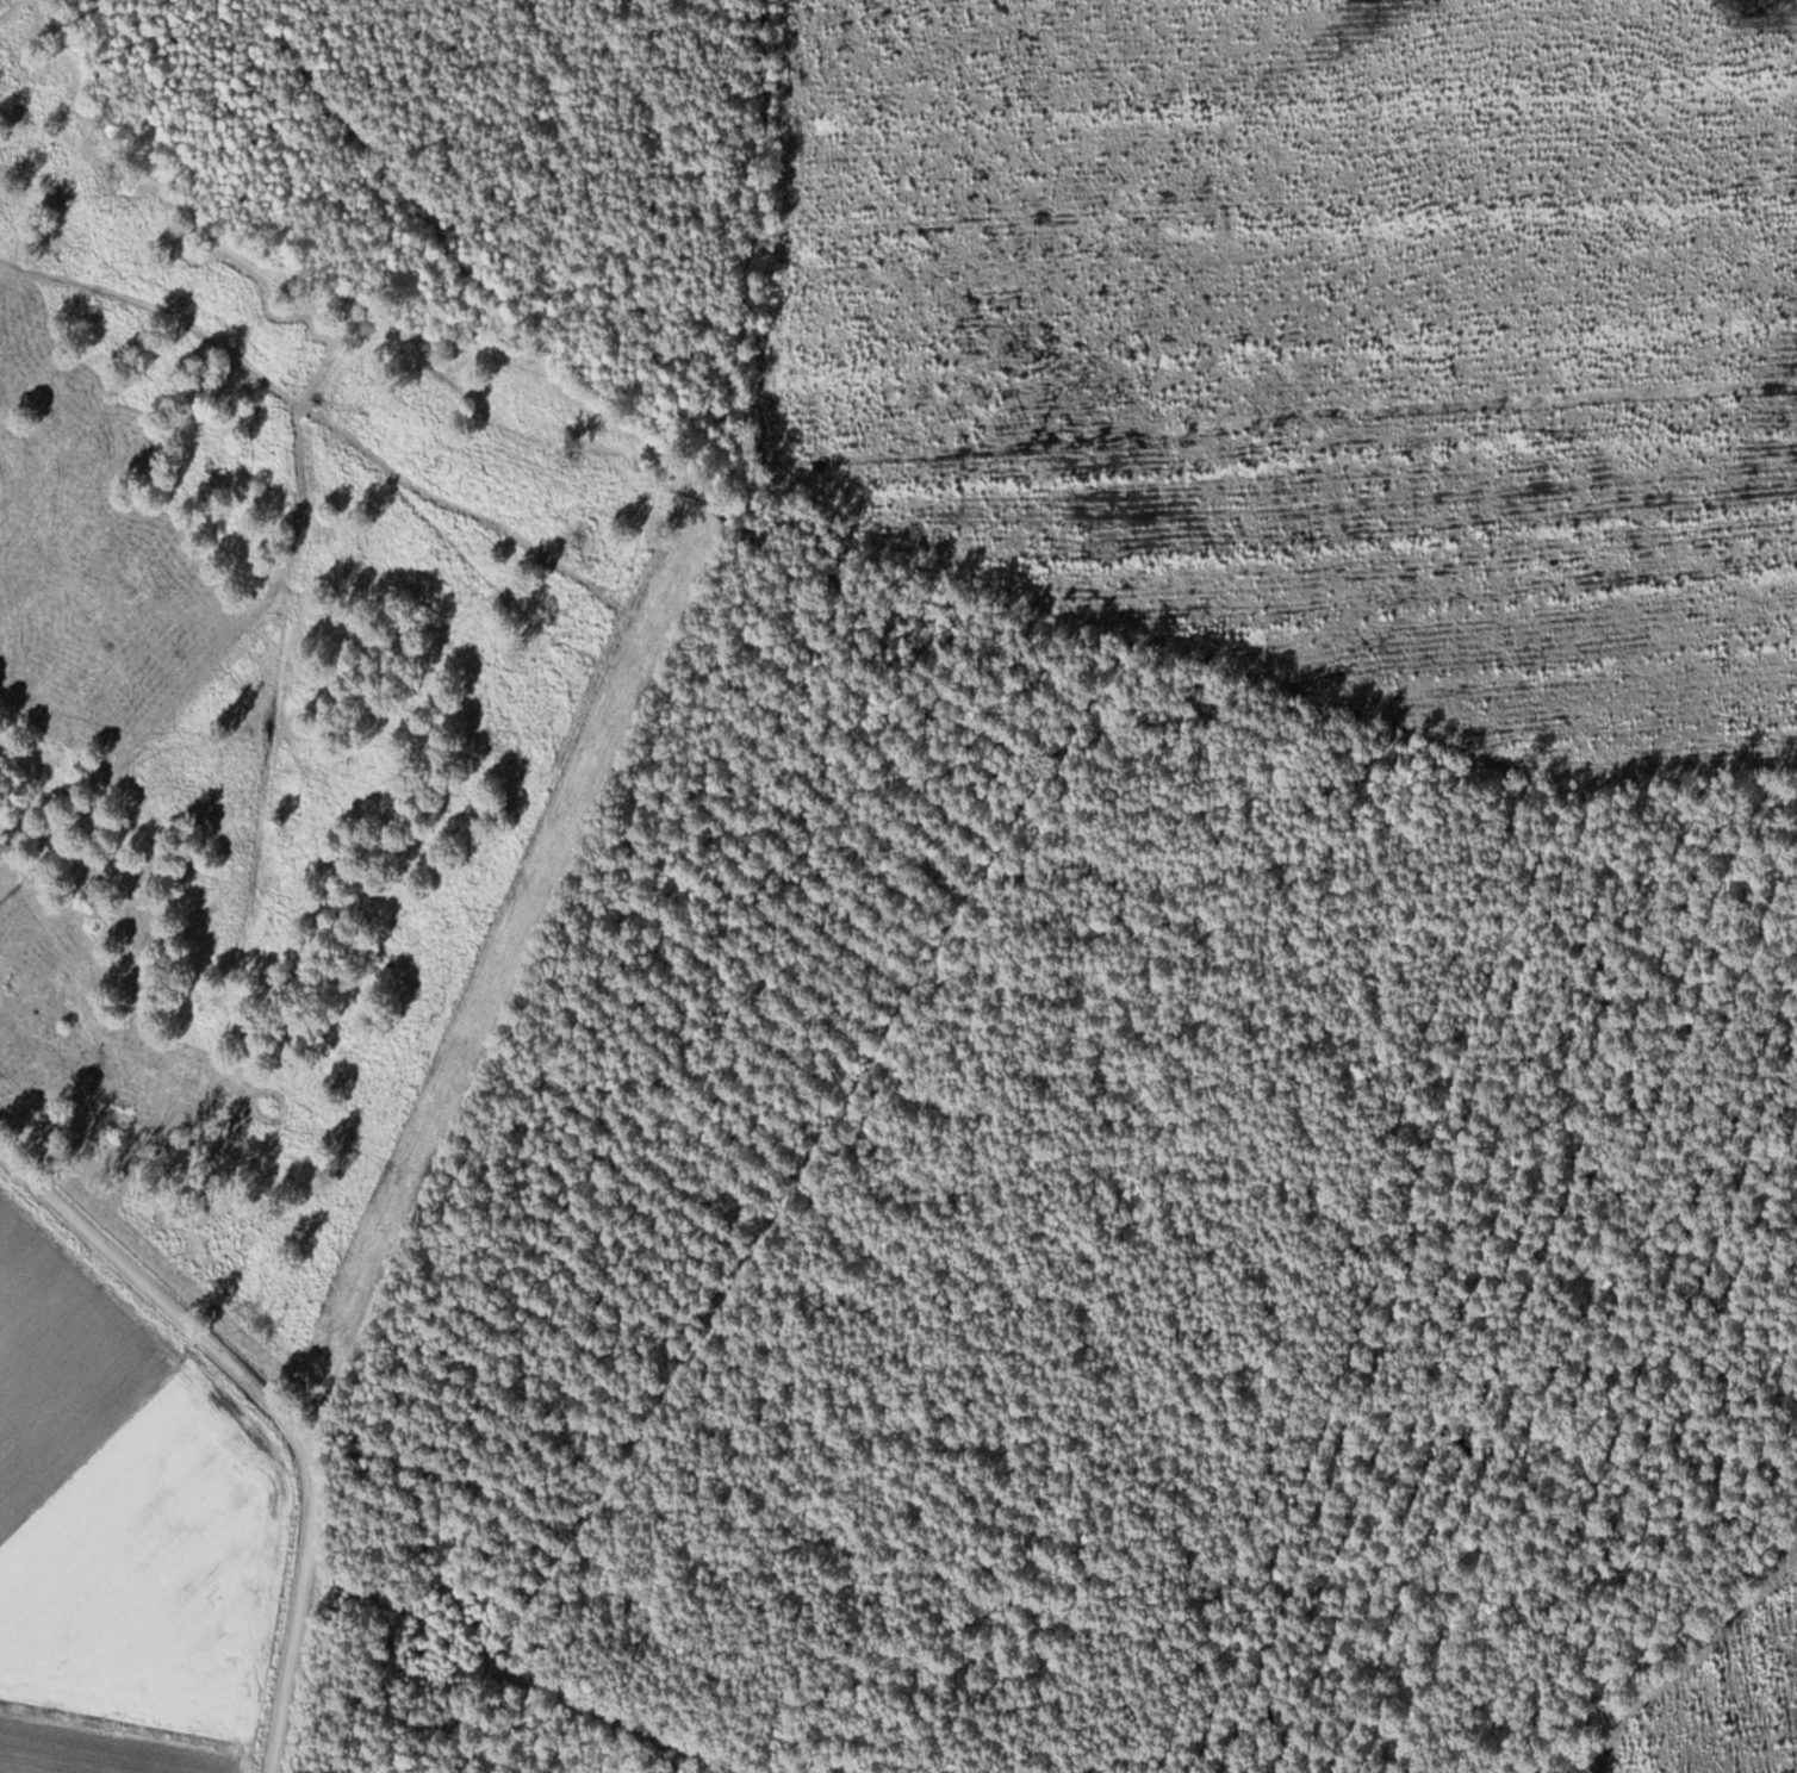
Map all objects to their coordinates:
road: (276, 1410)

